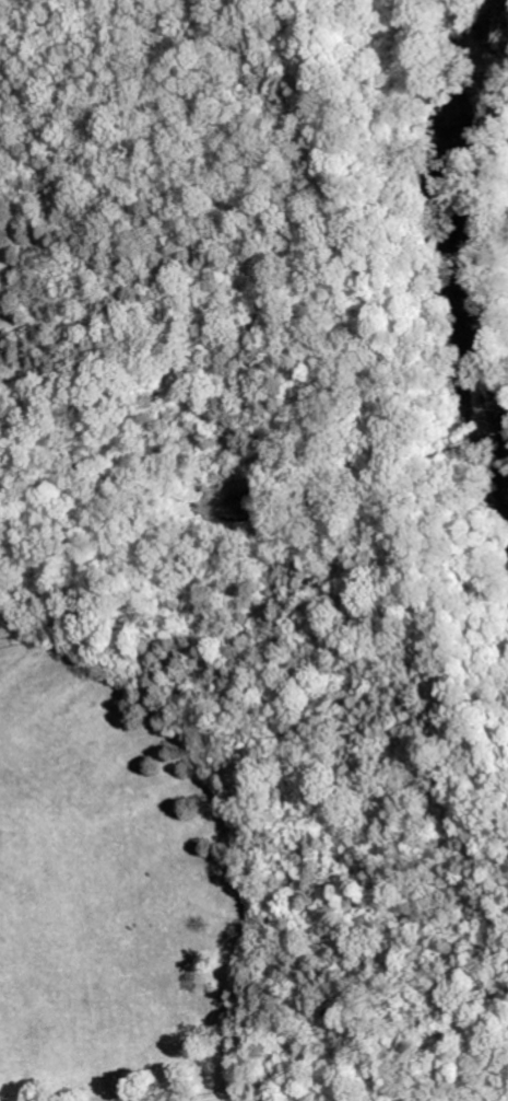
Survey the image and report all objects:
river: (442, 281)

